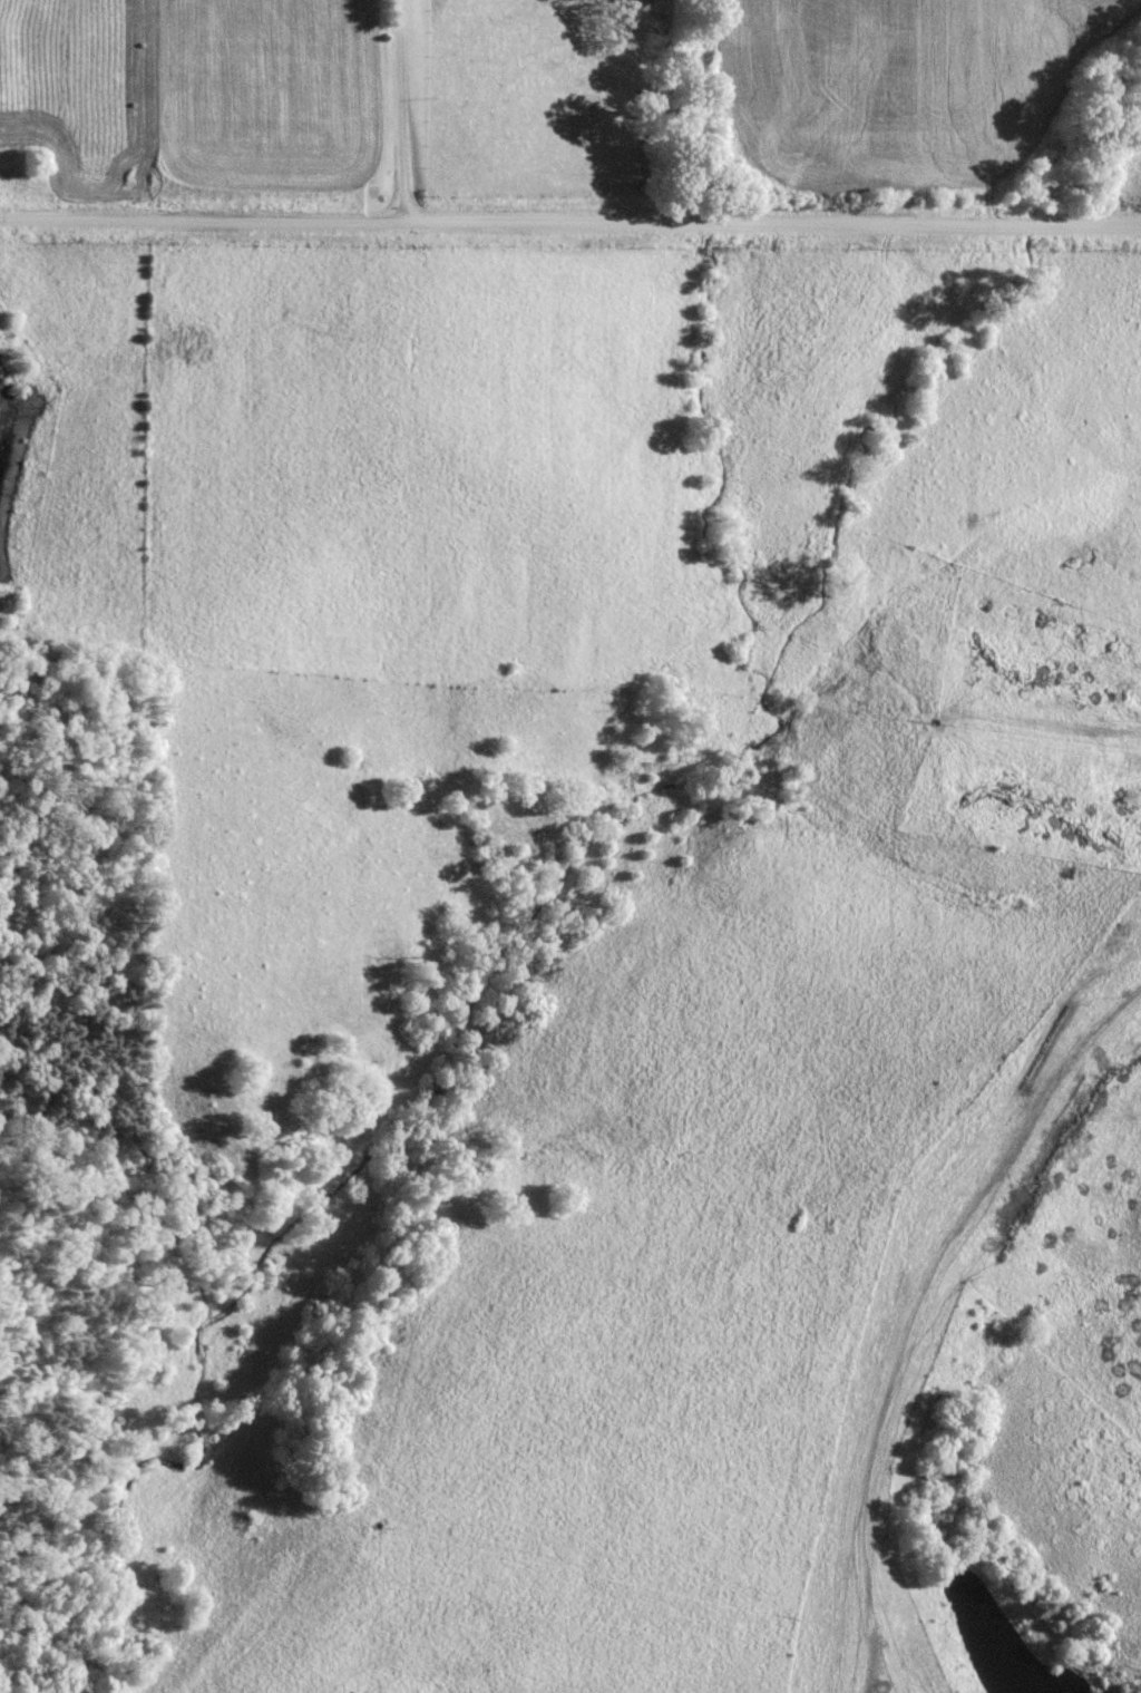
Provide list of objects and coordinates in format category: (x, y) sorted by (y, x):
road: (570, 216)

